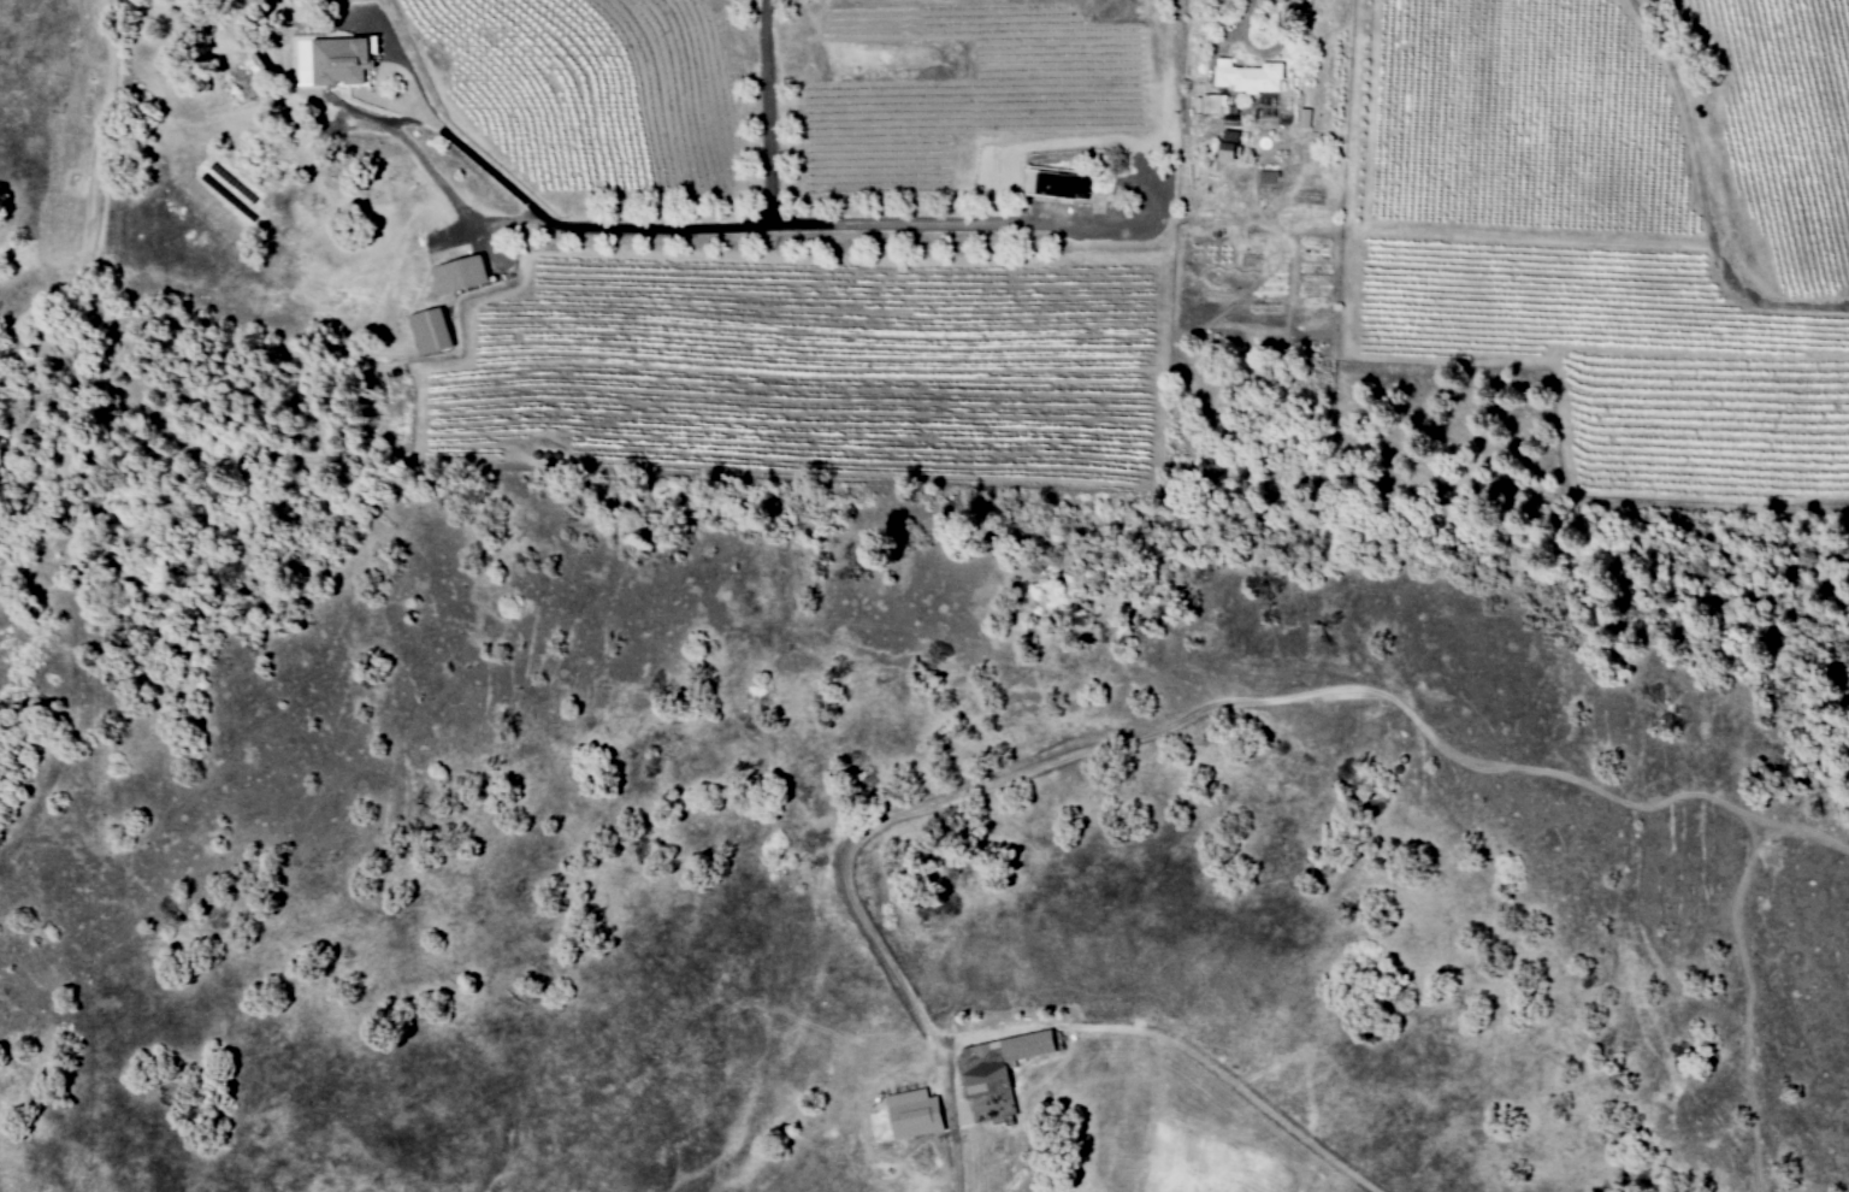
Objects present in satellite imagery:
building: (344, 61)
building: (1251, 77)
building: (1211, 105)
building: (1305, 118)
building: (1233, 146)
road: (99, 191)
road: (1700, 201)
road: (929, 222)
road: (666, 225)
building: (463, 276)
building: (998, 1066)
building: (917, 1113)
road: (953, 1125)

